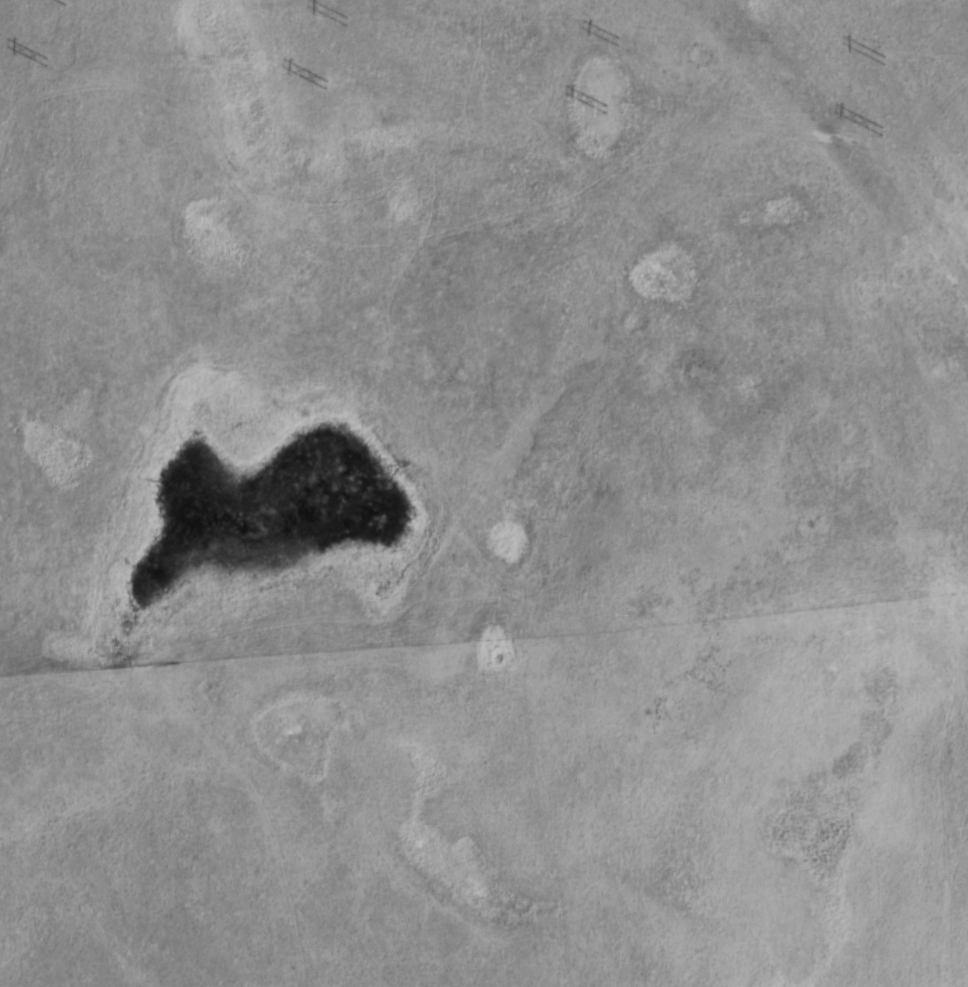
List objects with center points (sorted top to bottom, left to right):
power tower: (63, 0)
power tower: (348, 22)
power tower: (613, 40)
power tower: (46, 62)
power tower: (886, 62)
power tower: (326, 85)
power tower: (605, 108)
power tower: (883, 133)

